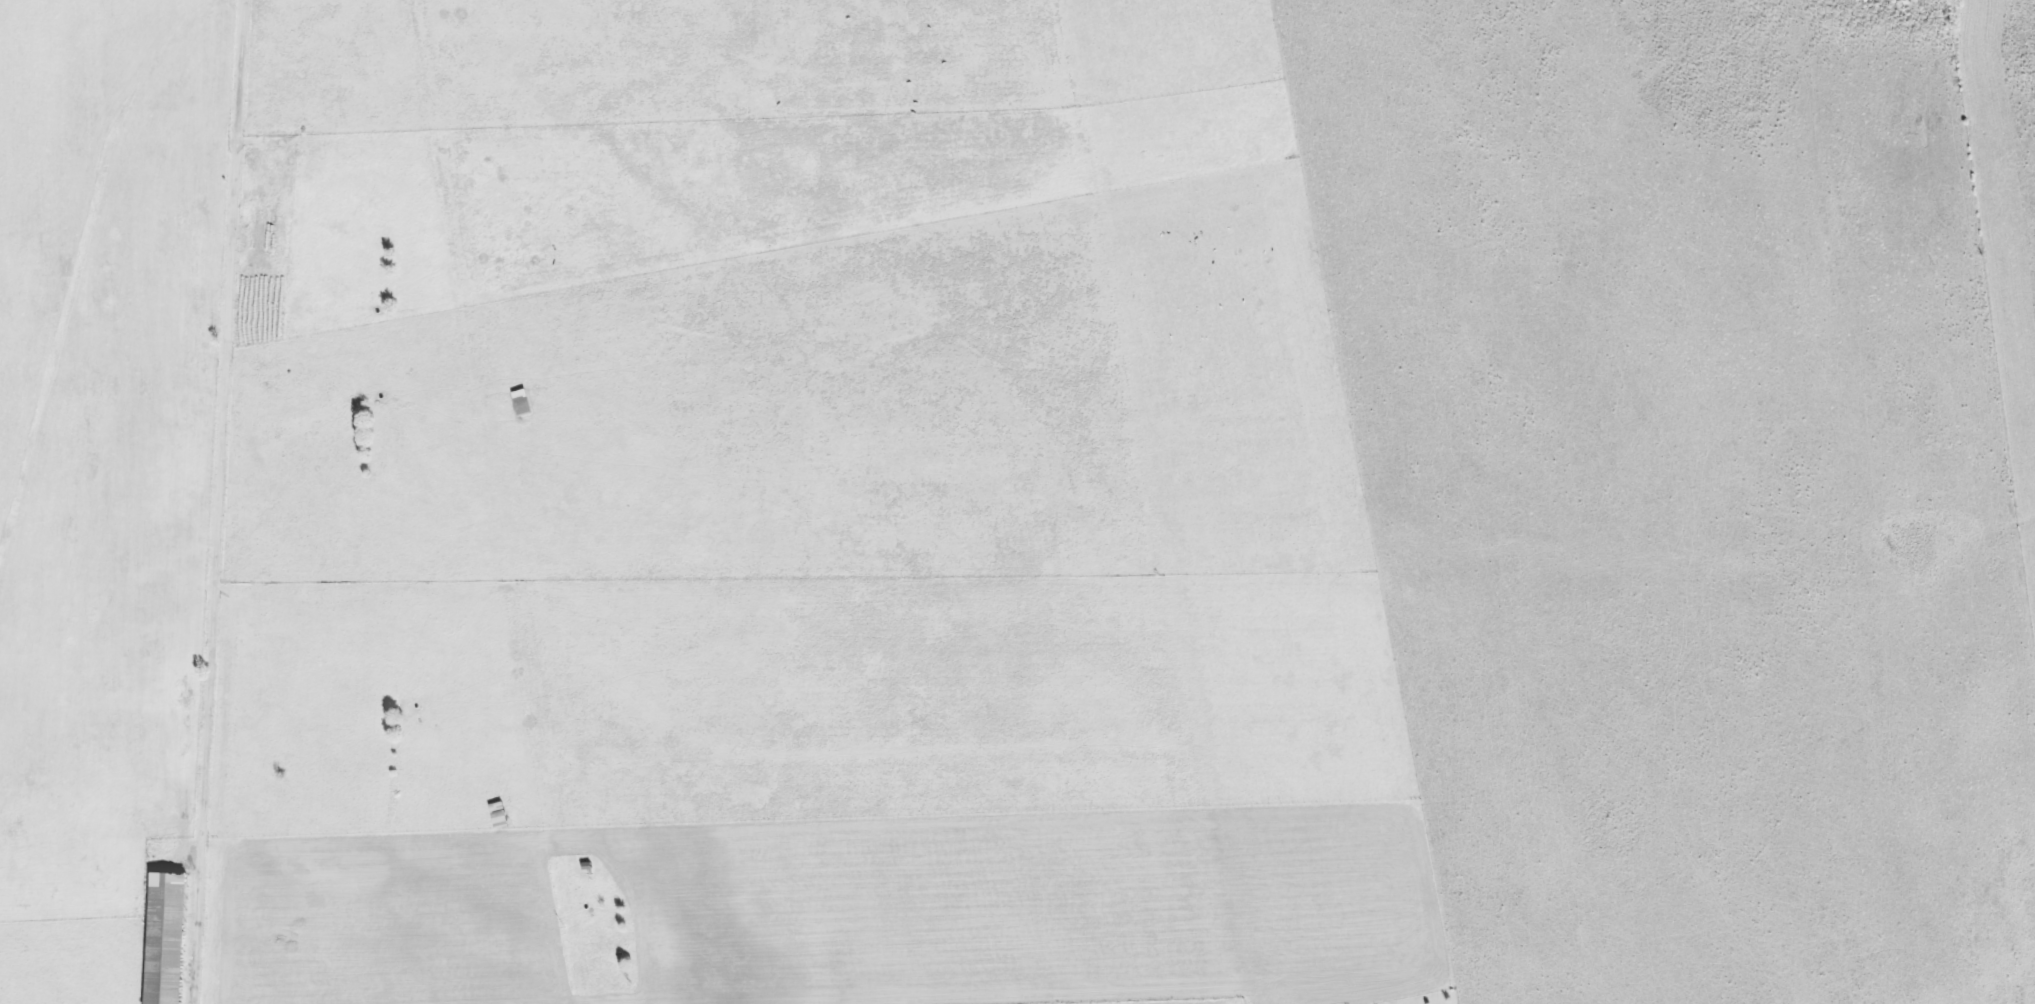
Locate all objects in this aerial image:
road: (201, 916)

